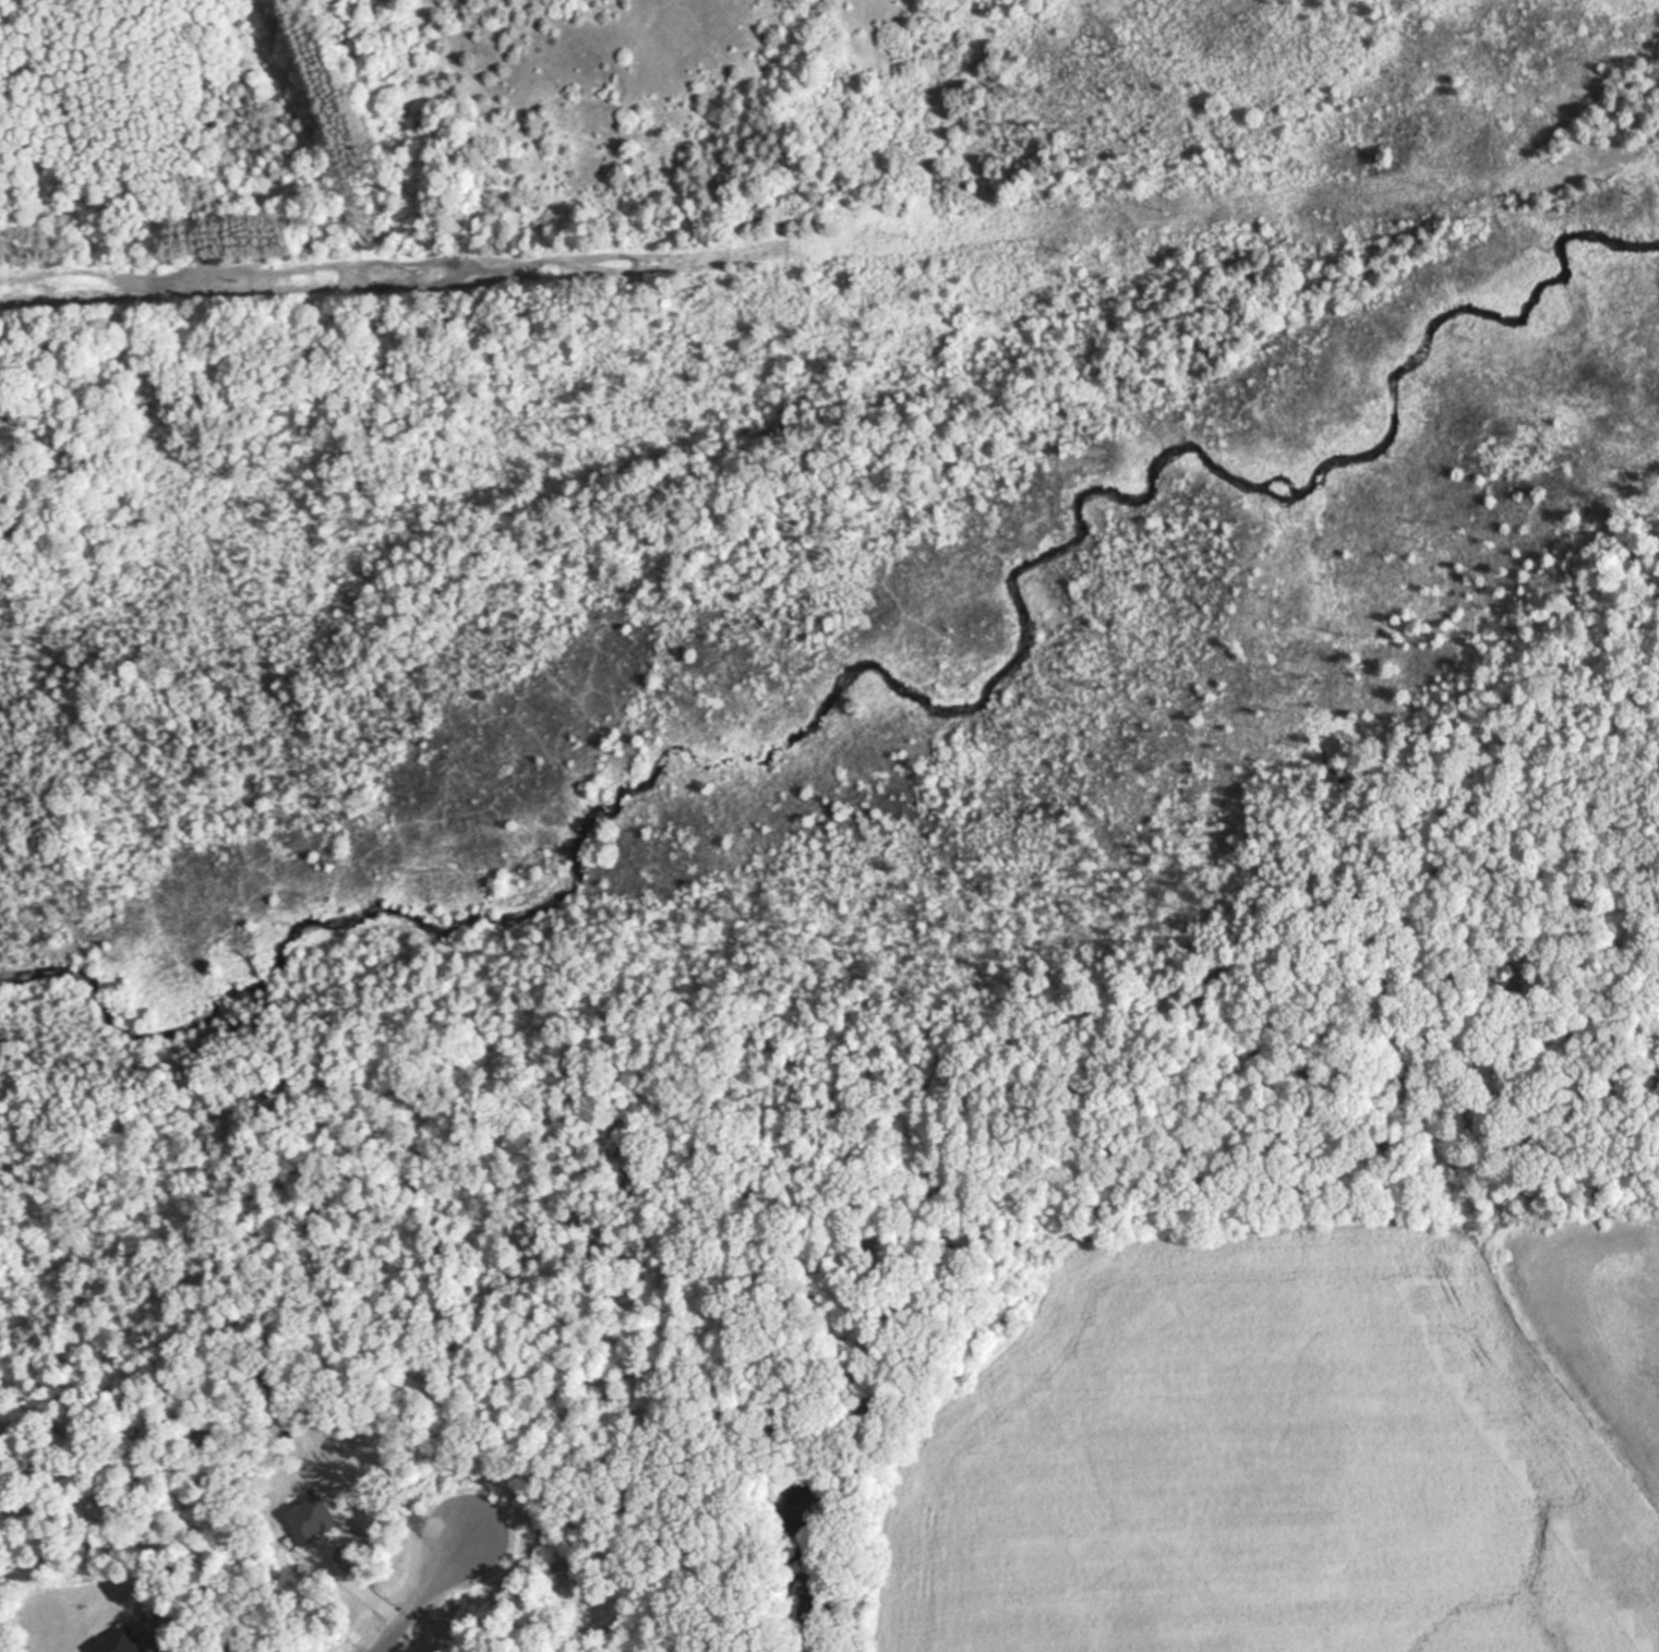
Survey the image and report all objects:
road: (420, 1592)

